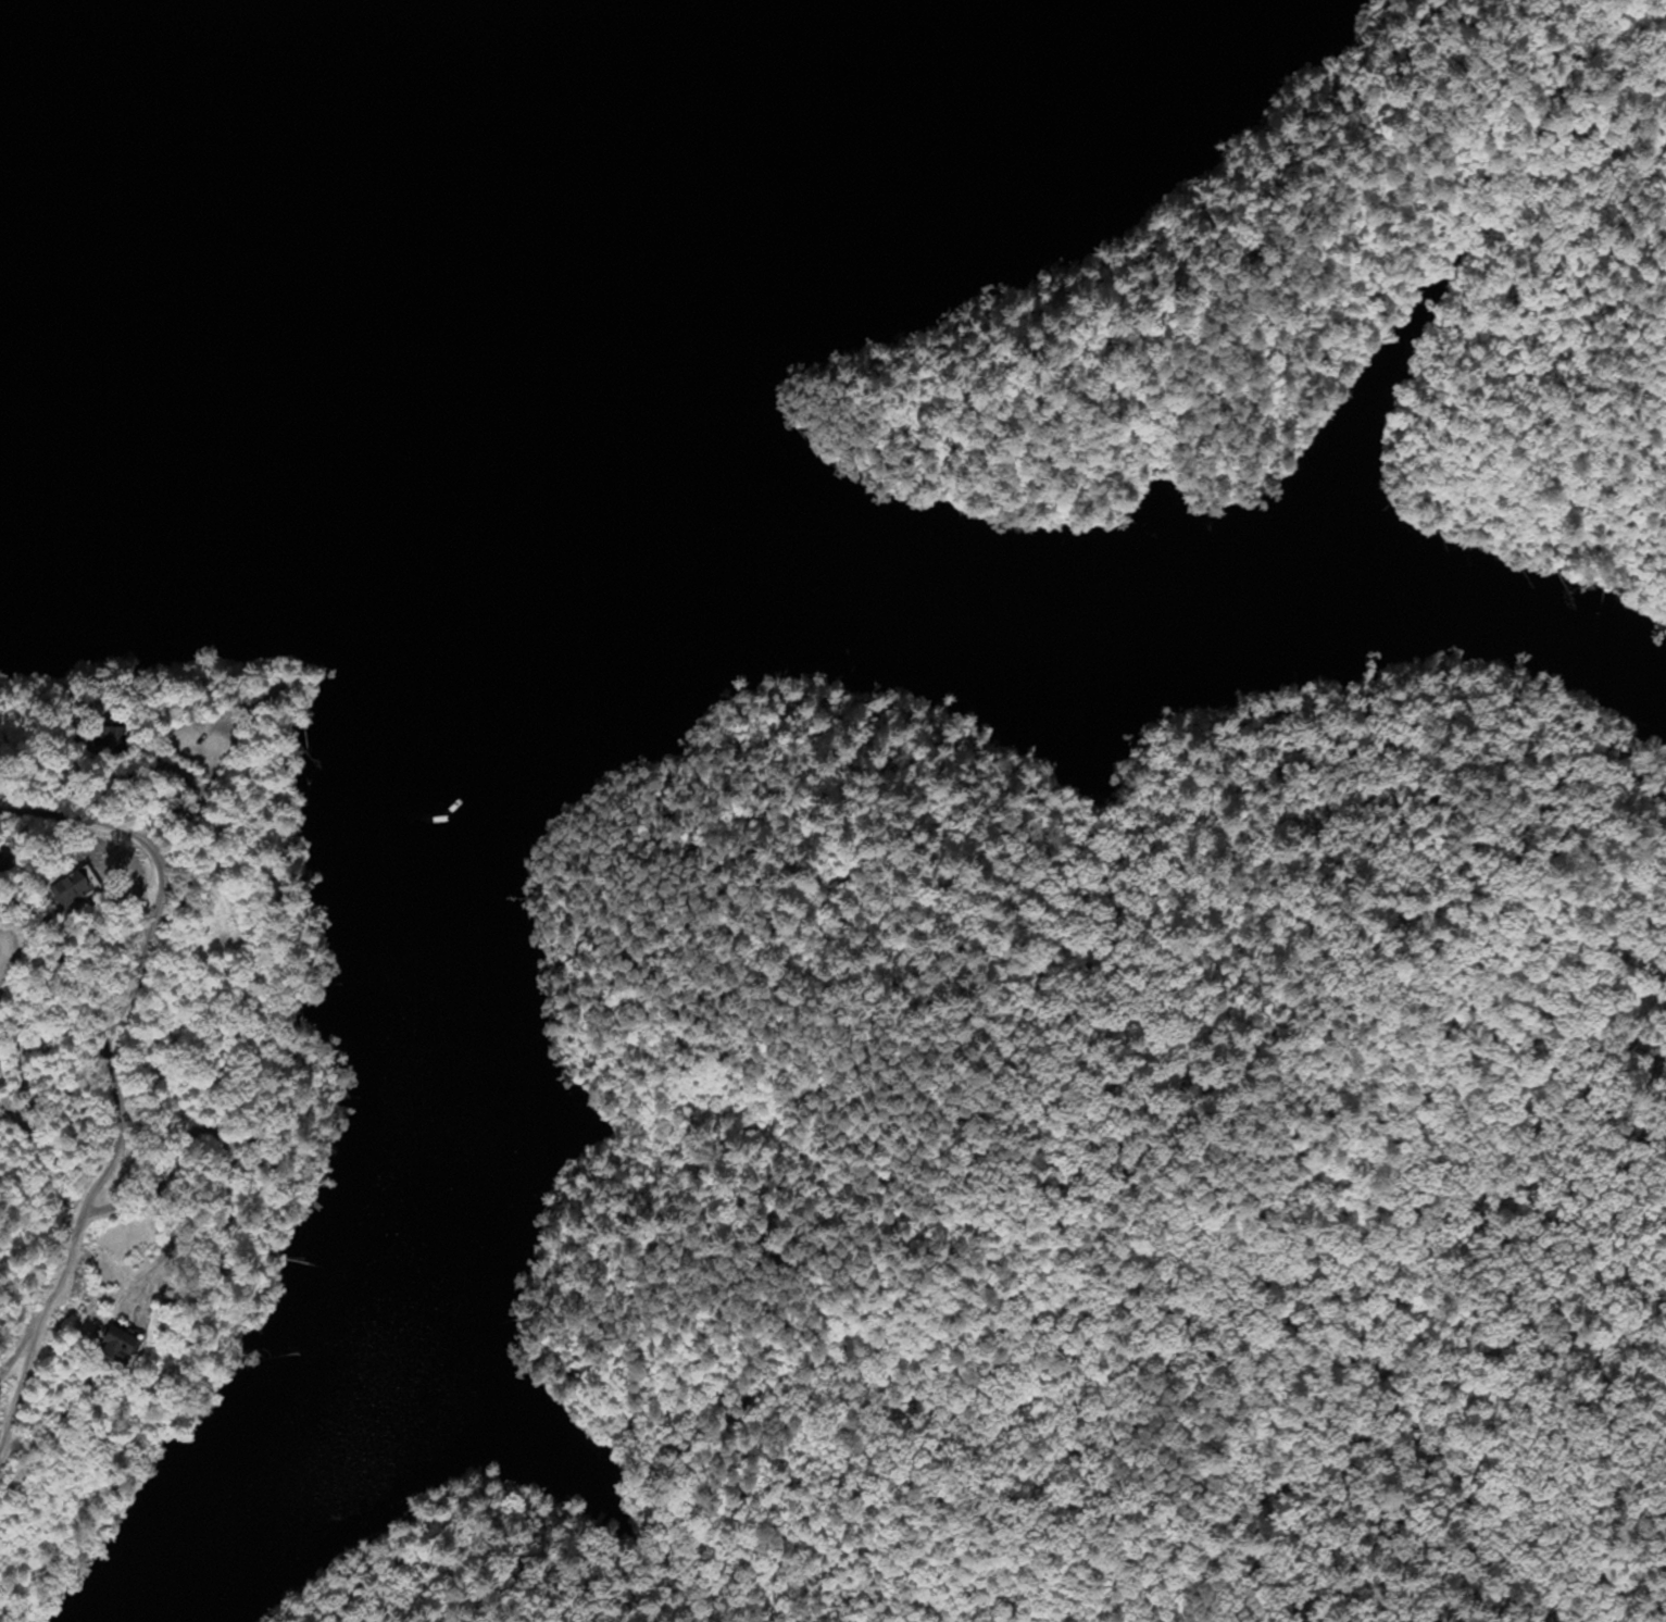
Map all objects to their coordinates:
river: (511, 265)
building: (68, 890)
road: (24, 1014)
road: (111, 1076)
road: (45, 1180)
building: (115, 1345)
road: (16, 1350)

